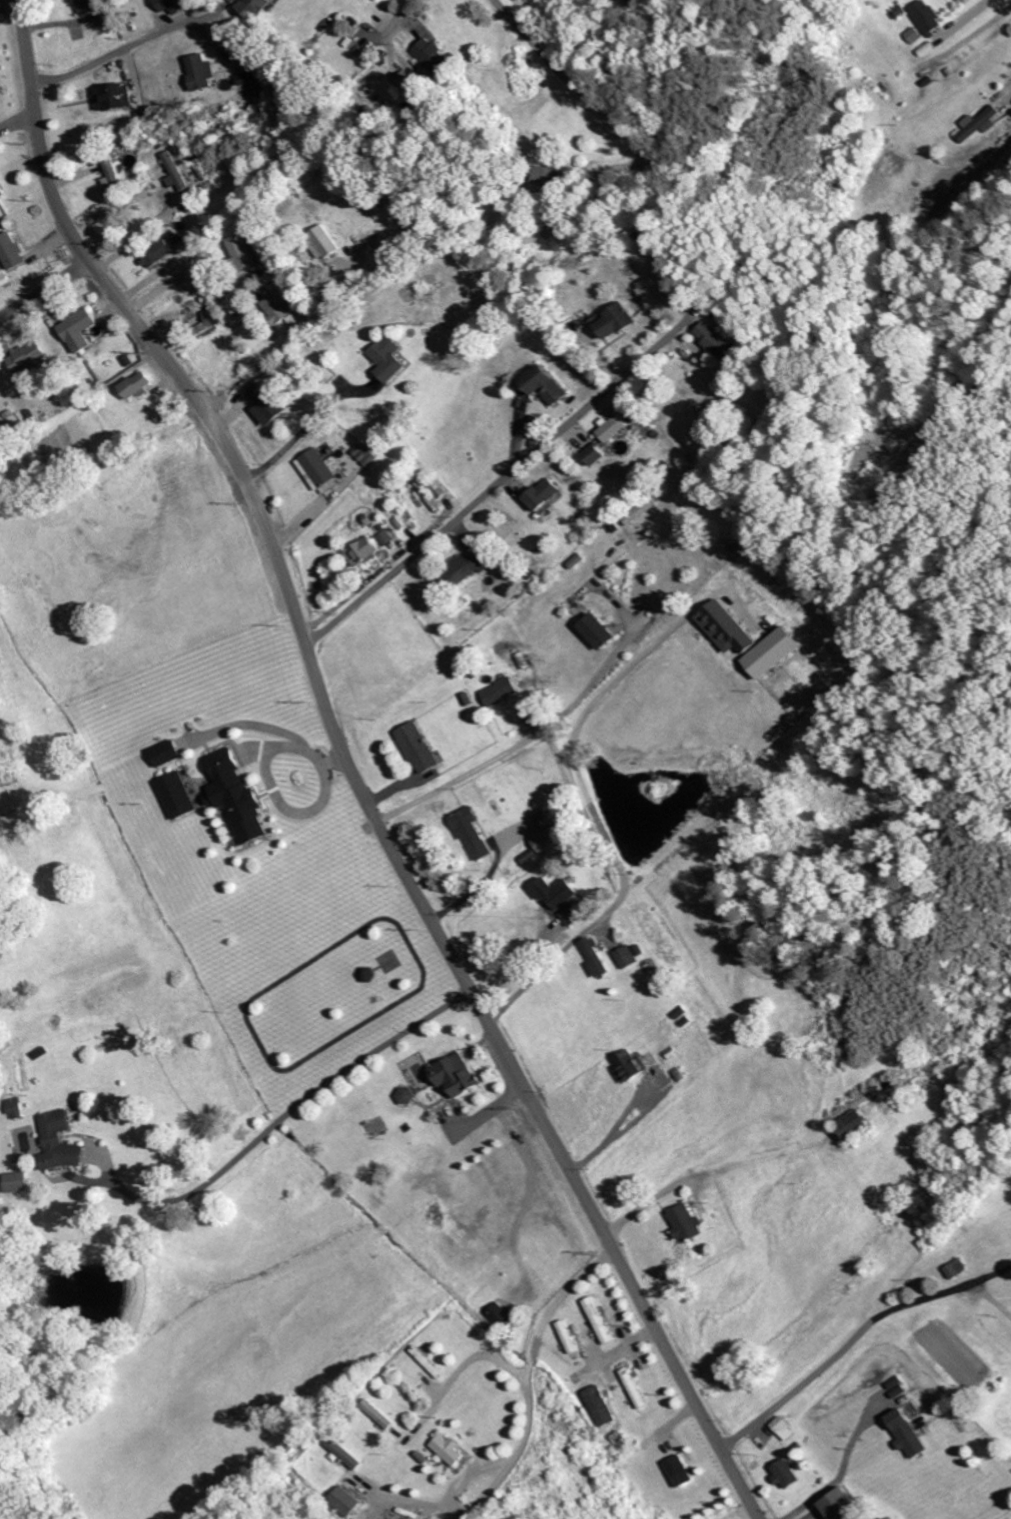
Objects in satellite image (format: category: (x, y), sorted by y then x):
building: (383, 0)
building: (175, 5)
building: (256, 7)
building: (92, 10)
building: (928, 16)
building: (914, 35)
building: (433, 54)
building: (205, 72)
building: (252, 77)
road: (574, 84)
building: (414, 89)
building: (118, 96)
road: (456, 104)
road: (17, 124)
building: (981, 124)
building: (178, 172)
building: (548, 175)
building: (116, 176)
building: (2, 191)
building: (329, 242)
building: (13, 250)
building: (245, 251)
building: (158, 253)
building: (6, 277)
road: (45, 289)
building: (280, 309)
building: (206, 321)
building: (620, 321)
building: (81, 330)
building: (721, 343)
building: (29, 356)
building: (394, 358)
building: (138, 385)
building: (552, 385)
building: (270, 404)
building: (616, 429)
building: (366, 454)
building: (599, 454)
building: (320, 470)
road: (495, 488)
building: (547, 494)
building: (644, 511)
building: (388, 538)
building: (365, 552)
building: (467, 569)
road: (602, 591)
building: (733, 628)
building: (602, 632)
building: (779, 653)
building: (505, 692)
building: (423, 748)
building: (170, 753)
road: (352, 770)
building: (181, 796)
building: (240, 797)
road: (732, 819)
building: (476, 832)
building: (549, 840)
building: (559, 893)
building: (574, 914)
building: (628, 957)
building: (598, 958)
building: (630, 1067)
building: (458, 1075)
building: (407, 1096)
building: (19, 1108)
building: (857, 1125)
building: (64, 1142)
building: (21, 1182)
building: (688, 1224)
building: (957, 1269)
building: (503, 1317)
building: (600, 1321)
building: (570, 1337)
building: (636, 1388)
building: (602, 1407)
building: (379, 1415)
building: (785, 1429)
building: (908, 1435)
building: (449, 1450)
building: (345, 1453)
building: (681, 1472)
building: (787, 1475)
building: (346, 1502)
building: (843, 1507)

